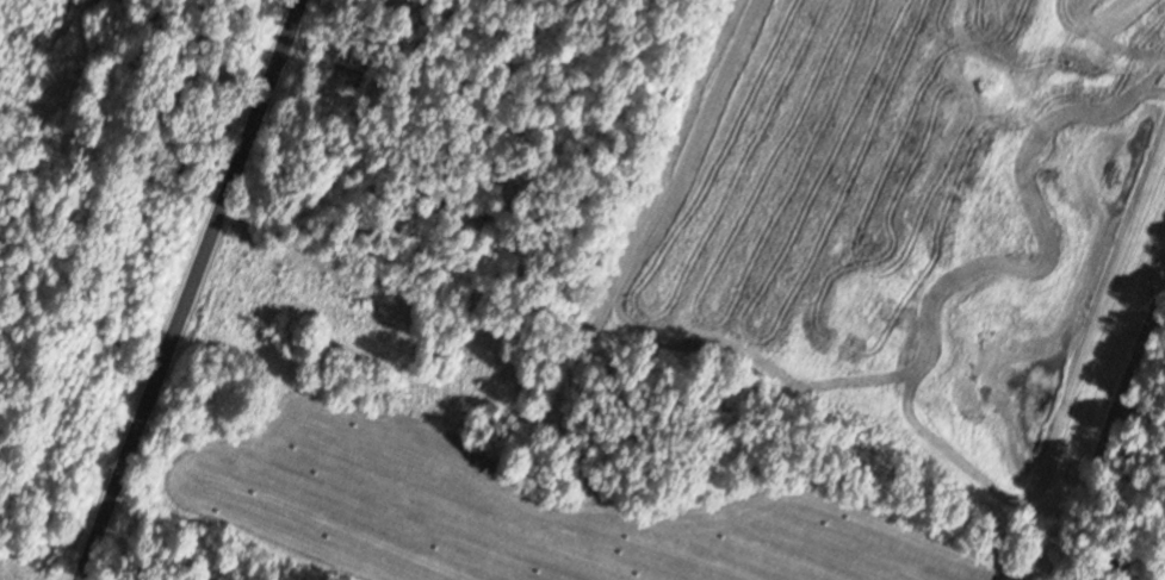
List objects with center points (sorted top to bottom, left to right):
road: (192, 289)
road: (1108, 432)

